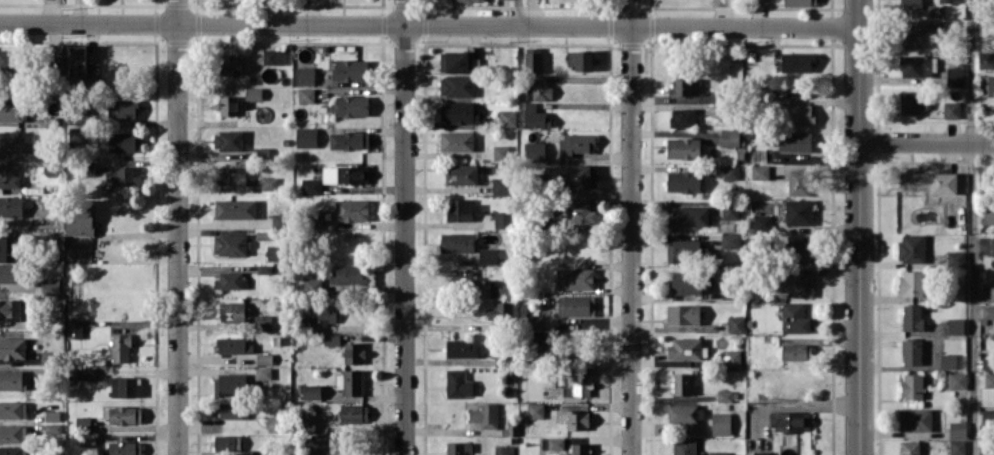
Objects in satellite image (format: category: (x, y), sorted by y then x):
building: (459, 0)
building: (761, 2)
building: (799, 3)
building: (911, 4)
road: (519, 12)
road: (430, 25)
building: (936, 26)
building: (909, 36)
building: (270, 56)
building: (6, 59)
building: (581, 59)
building: (533, 60)
building: (986, 60)
building: (78, 62)
building: (458, 62)
building: (797, 62)
building: (229, 65)
building: (914, 66)
building: (350, 69)
building: (305, 75)
building: (955, 75)
building: (456, 85)
building: (987, 85)
building: (684, 86)
building: (541, 91)
building: (253, 93)
building: (306, 94)
building: (912, 102)
building: (228, 105)
building: (352, 105)
building: (951, 109)
building: (122, 110)
building: (10, 112)
building: (461, 112)
building: (792, 112)
building: (535, 117)
building: (682, 117)
building: (507, 118)
building: (77, 135)
building: (306, 137)
building: (732, 137)
building: (227, 140)
building: (348, 140)
building: (456, 140)
building: (10, 141)
building: (124, 141)
building: (795, 141)
road: (926, 141)
building: (575, 144)
building: (684, 148)
building: (534, 151)
building: (500, 152)
building: (729, 171)
building: (759, 171)
building: (345, 174)
building: (461, 174)
building: (8, 175)
building: (125, 175)
building: (229, 175)
building: (580, 176)
building: (683, 181)
building: (798, 182)
building: (928, 182)
building: (268, 183)
building: (311, 186)
building: (501, 186)
building: (11, 206)
building: (235, 208)
building: (462, 209)
building: (352, 210)
building: (729, 211)
building: (798, 211)
building: (579, 213)
building: (989, 215)
building: (688, 216)
building: (79, 217)
building: (501, 219)
building: (762, 221)
road: (178, 227)
road: (405, 227)
road: (631, 227)
road: (859, 227)
road: (972, 227)
building: (730, 240)
building: (457, 242)
building: (230, 244)
building: (992, 246)
building: (7, 248)
building: (911, 248)
building: (683, 250)
building: (795, 250)
building: (273, 252)
building: (487, 256)
building: (956, 258)
building: (9, 272)
building: (350, 274)
building: (575, 278)
building: (227, 280)
building: (686, 282)
building: (912, 283)
building: (792, 284)
building: (51, 286)
building: (484, 288)
building: (991, 293)
building: (576, 305)
building: (10, 308)
building: (503, 308)
building: (233, 311)
building: (324, 313)
building: (683, 314)
building: (794, 317)
building: (912, 317)
building: (262, 322)
building: (533, 323)
building: (735, 324)
building: (956, 326)
building: (74, 328)
building: (331, 339)
building: (234, 345)
building: (12, 347)
building: (120, 347)
building: (461, 348)
building: (685, 348)
building: (796, 351)
building: (911, 351)
building: (353, 352)
building: (48, 357)
building: (264, 358)
building: (732, 358)
building: (948, 361)
building: (82, 373)
building: (262, 373)
building: (12, 380)
building: (957, 380)
building: (989, 380)
building: (230, 383)
building: (351, 383)
building: (458, 383)
building: (574, 384)
building: (682, 384)
building: (124, 386)
building: (911, 386)
building: (310, 391)
building: (724, 395)
building: (13, 409)
building: (233, 410)
building: (353, 413)
building: (122, 414)
building: (684, 414)
building: (52, 415)
building: (484, 416)
building: (987, 417)
building: (915, 419)
building: (577, 420)
building: (791, 421)
building: (83, 422)
building: (273, 423)
building: (308, 423)
building: (721, 423)
building: (957, 429)
building: (13, 433)
building: (320, 441)
building: (227, 442)
building: (552, 443)
building: (683, 446)
building: (909, 447)
building: (957, 447)
building: (123, 448)
building: (458, 448)
building: (986, 448)
building: (579, 449)
building: (12, 450)
building: (502, 450)
building: (258, 452)
building: (760, 452)
building: (717, 453)

